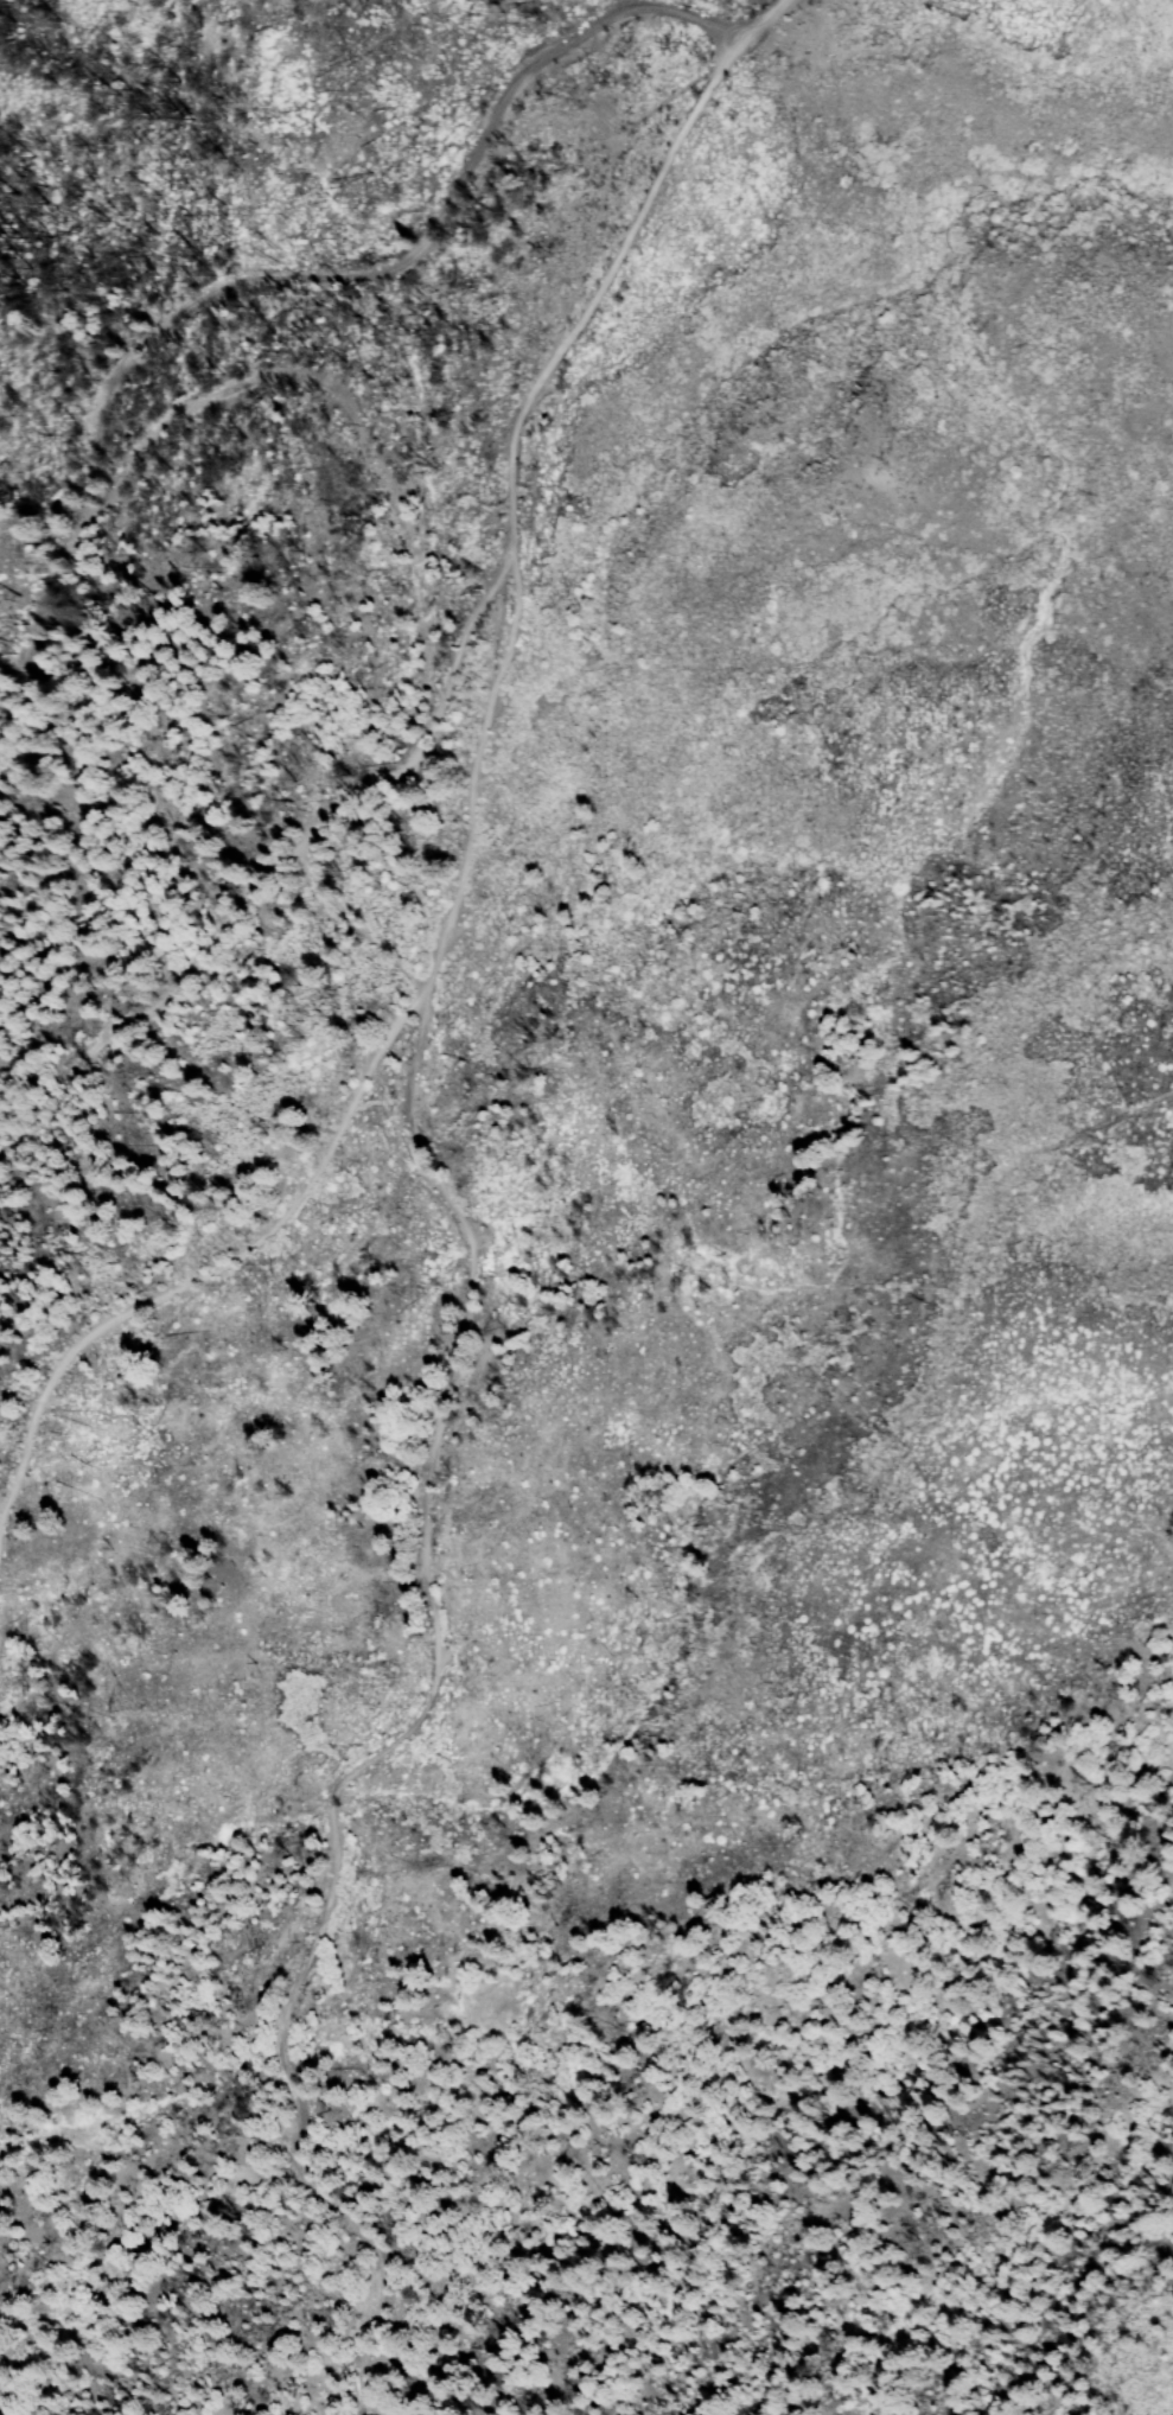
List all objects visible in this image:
road: (313, 276)
road: (167, 1006)
road: (432, 1177)

